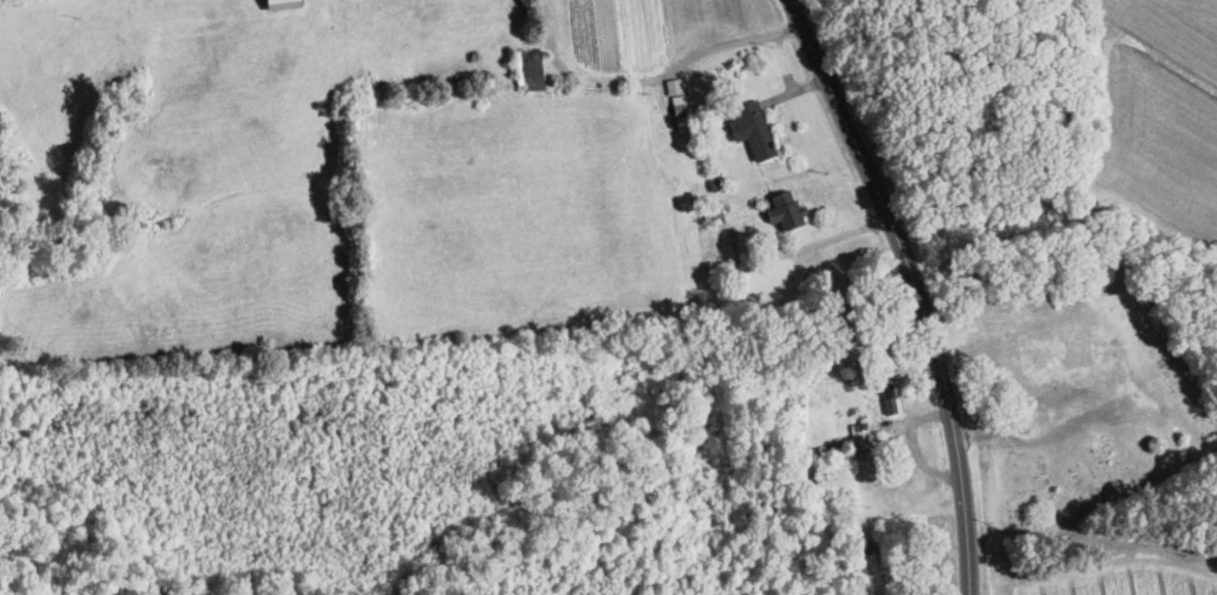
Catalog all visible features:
building: (281, 5)
building: (528, 70)
building: (752, 132)
building: (786, 212)
road: (915, 287)
building: (1056, 351)
building: (886, 388)

